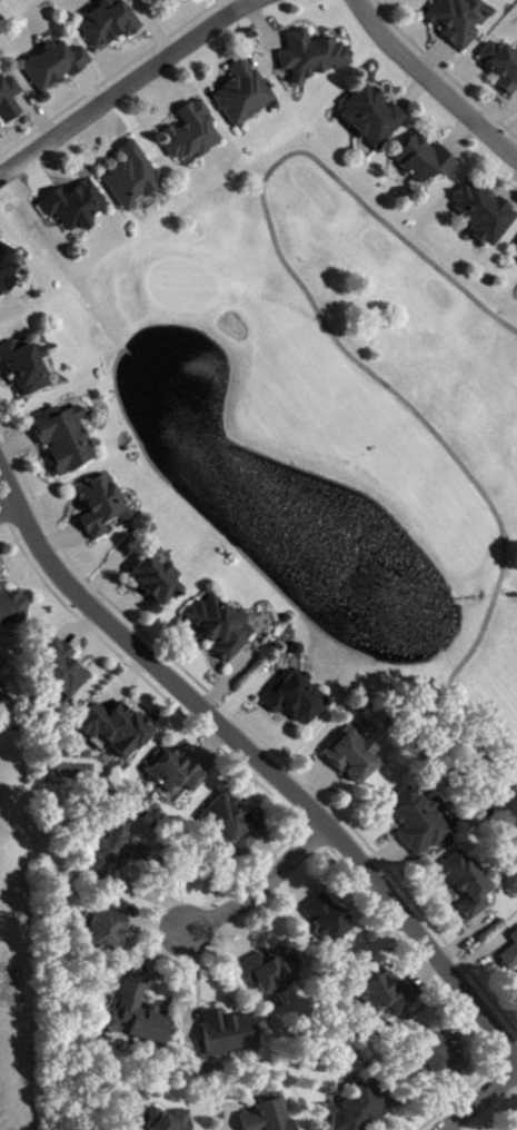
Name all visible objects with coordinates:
road: (0, 0)
building: (157, 1)
park: (9, 9)
building: (457, 21)
building: (110, 23)
building: (315, 57)
building: (56, 66)
building: (503, 66)
road: (433, 80)
road: (126, 86)
building: (245, 93)
building: (9, 100)
building: (375, 117)
building: (193, 133)
building: (426, 160)
building: (133, 178)
building: (76, 206)
building: (486, 212)
building: (516, 252)
building: (8, 268)
road: (354, 358)
building: (27, 367)
park: (346, 422)
building: (66, 439)
building: (102, 506)
road: (8, 509)
building: (157, 579)
building: (14, 608)
building: (222, 626)
building: (299, 698)
building: (119, 730)
building: (355, 755)
road: (259, 760)
building: (178, 772)
building: (420, 822)
building: (231, 823)
building: (469, 883)
road: (265, 885)
building: (328, 920)
building: (109, 929)
building: (515, 938)
building: (510, 959)
building: (275, 972)
building: (387, 994)
building: (139, 1013)
building: (231, 1034)
building: (441, 1058)
road: (481, 1100)
building: (362, 1108)
building: (270, 1117)
building: (171, 1121)

